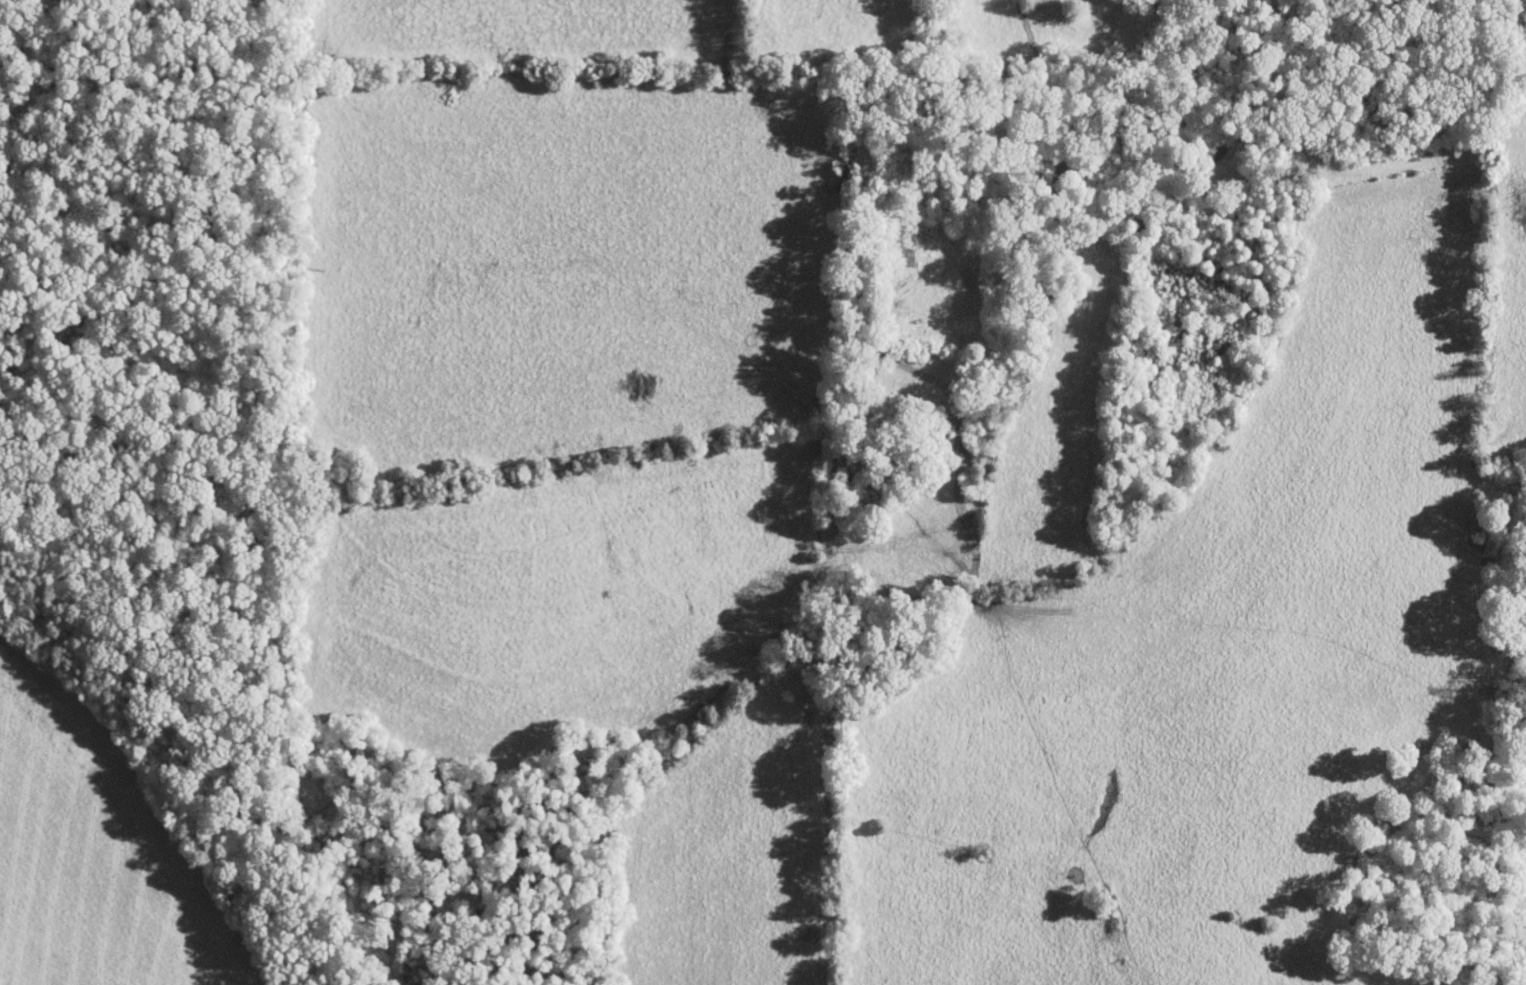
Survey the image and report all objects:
road: (973, 582)

